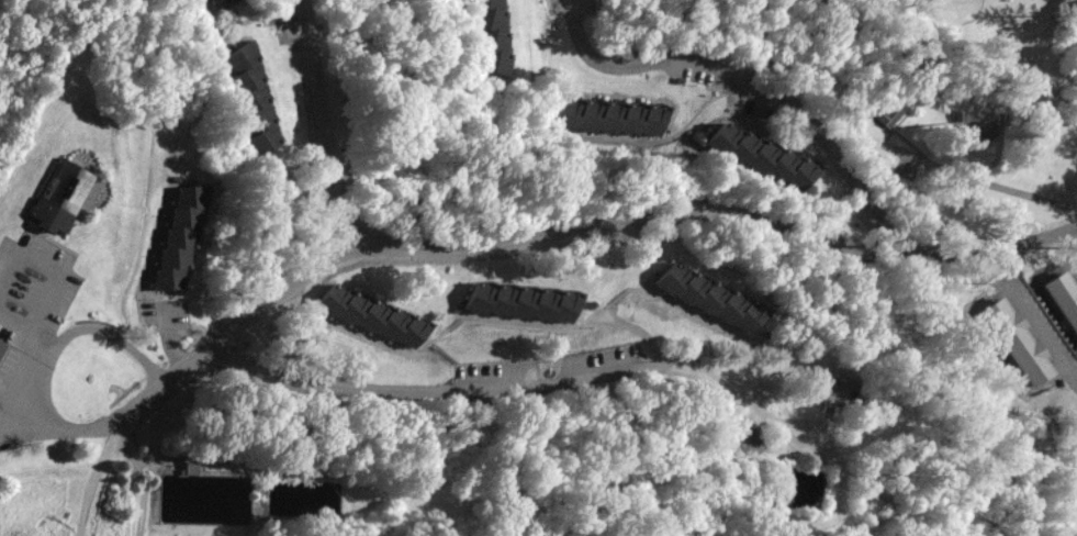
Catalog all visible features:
building: (214, 2)
building: (489, 38)
road: (753, 90)
building: (251, 98)
building: (887, 120)
building: (606, 123)
road: (324, 124)
building: (760, 159)
road: (978, 187)
building: (60, 198)
road: (602, 225)
building: (180, 235)
road: (53, 269)
building: (710, 298)
parking lot: (30, 299)
building: (520, 303)
building: (371, 320)
road: (15, 325)
road: (165, 340)
building: (2, 347)
road: (34, 357)
road: (45, 379)
road: (563, 380)
building: (834, 391)
road: (21, 395)
road: (233, 458)
road: (51, 471)
road: (93, 472)
road: (139, 479)
storage tank: (204, 498)
storage tank: (302, 499)
building: (873, 506)

